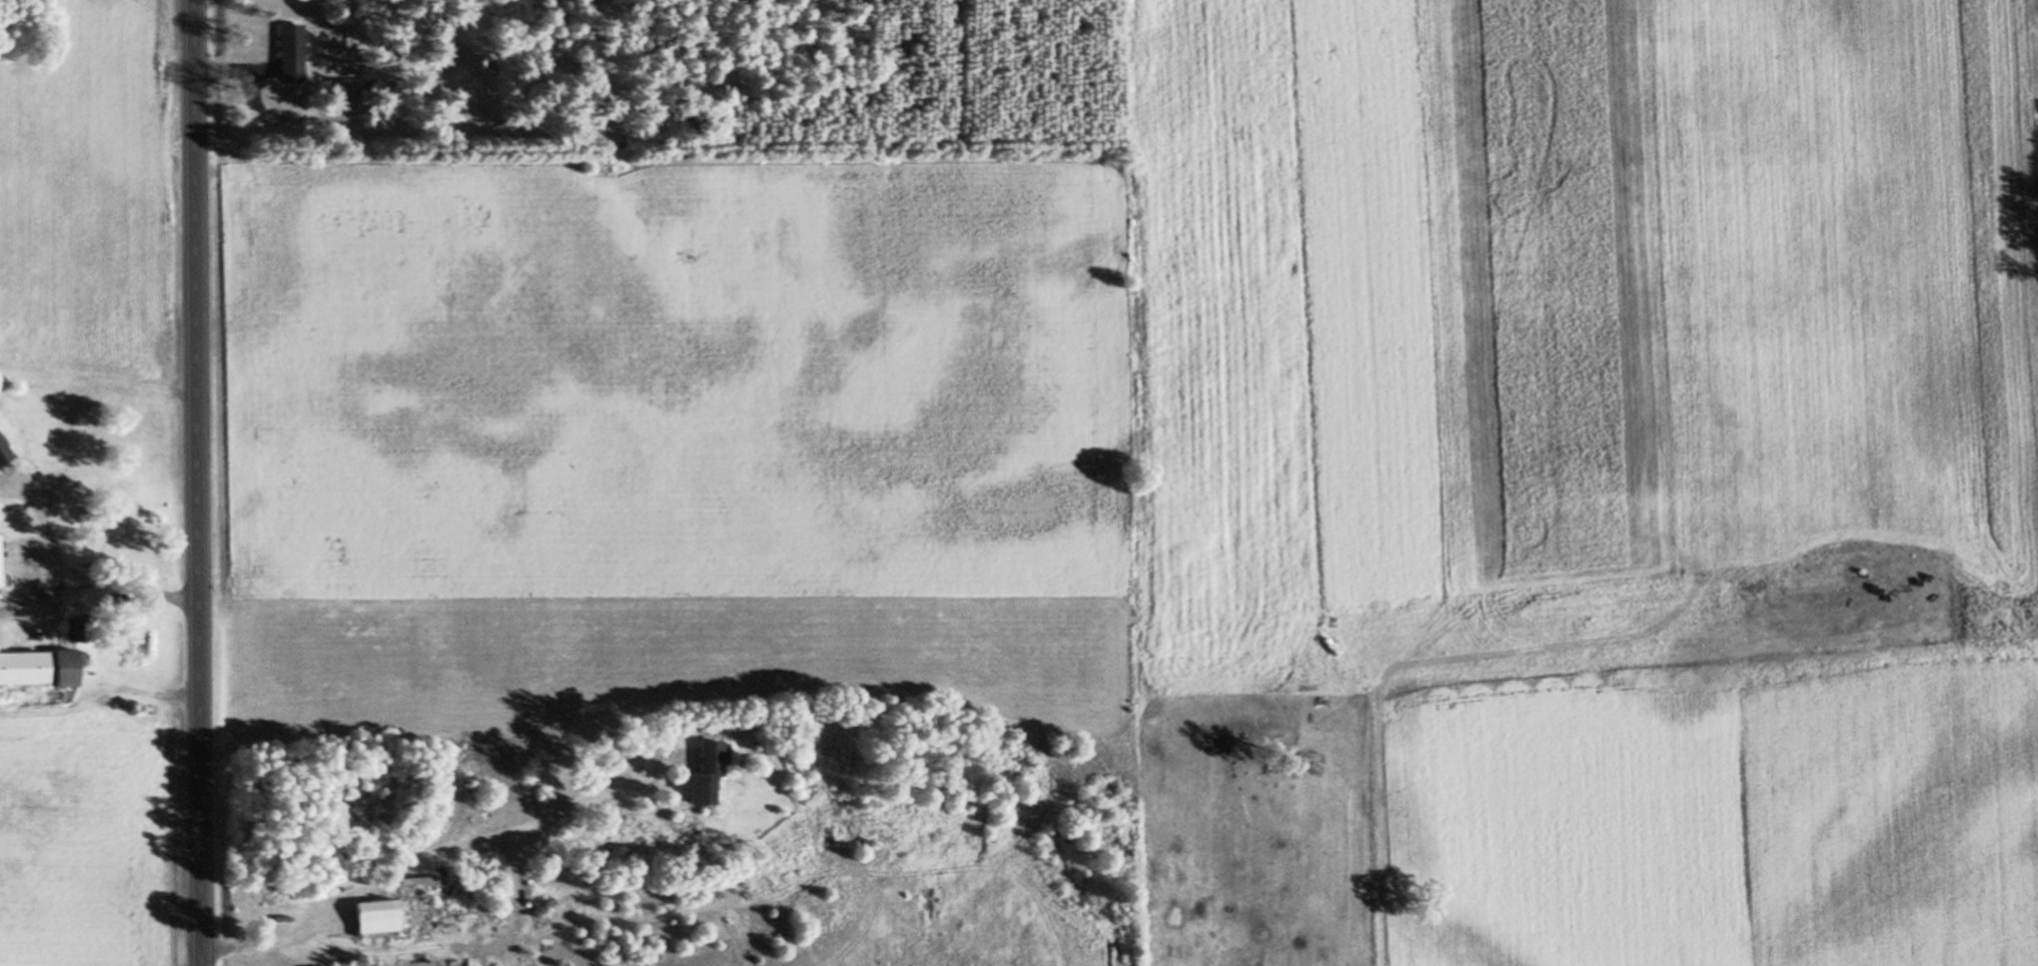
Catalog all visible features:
building: (288, 54)
building: (339, 92)
building: (2, 456)
road: (192, 482)
building: (35, 670)
building: (701, 774)
road: (482, 846)
building: (366, 912)

